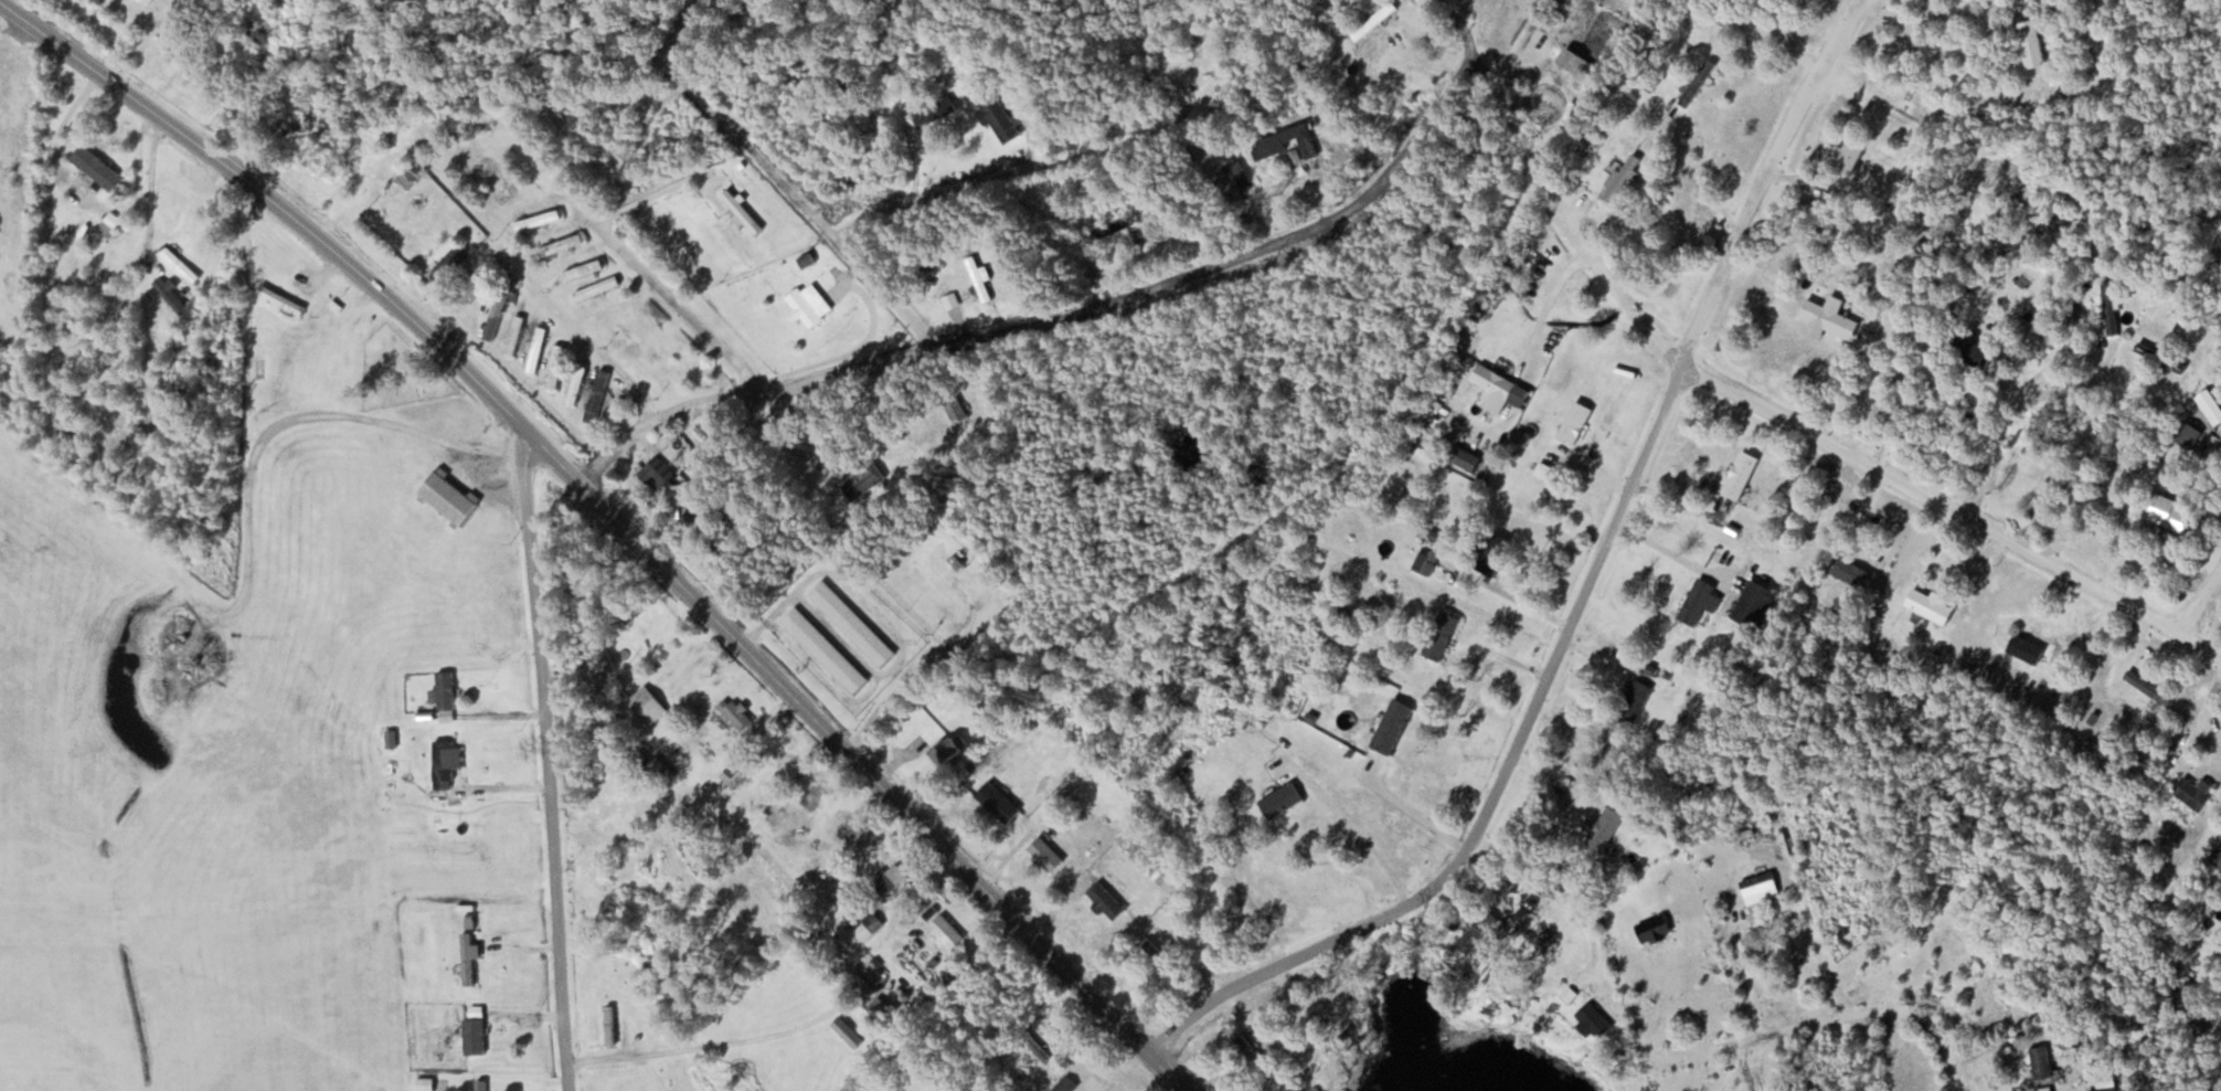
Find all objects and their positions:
building: (151, 0)
road: (1445, 6)
road: (1455, 17)
building: (1374, 19)
building: (2031, 42)
building: (1577, 62)
building: (1697, 81)
road: (235, 82)
building: (935, 109)
building: (999, 116)
building: (682, 123)
building: (1284, 135)
building: (659, 146)
building: (1851, 152)
building: (97, 167)
road: (1007, 172)
building: (412, 173)
road: (1763, 178)
building: (495, 179)
road: (777, 180)
building: (742, 209)
building: (538, 220)
building: (109, 223)
building: (1115, 225)
building: (561, 244)
building: (808, 255)
building: (450, 263)
building: (180, 264)
building: (583, 269)
building: (979, 278)
building: (166, 286)
building: (596, 287)
road: (1619, 292)
building: (281, 299)
building: (809, 305)
building: (2111, 307)
road: (1067, 311)
building: (496, 315)
building: (1826, 317)
building: (516, 335)
building: (640, 337)
building: (536, 349)
building: (1968, 351)
building: (258, 371)
building: (576, 383)
building: (1501, 384)
building: (597, 395)
building: (956, 409)
building: (1575, 422)
building: (2188, 433)
building: (656, 473)
building: (1741, 474)
building: (862, 476)
road: (1314, 491)
building: (447, 497)
road: (1954, 509)
building: (2167, 511)
road: (620, 517)
building: (1494, 552)
building: (1430, 562)
building: (1851, 571)
road: (2199, 597)
building: (1697, 601)
building: (1755, 603)
building: (1931, 603)
building: (455, 622)
building: (851, 623)
building: (1442, 635)
building: (2027, 647)
building: (826, 649)
building: (2149, 687)
building: (446, 689)
building: (1635, 700)
building: (735, 711)
building: (1393, 725)
building: (945, 750)
road: (543, 754)
building: (445, 762)
building: (732, 775)
road: (1496, 778)
building: (2196, 792)
building: (1280, 799)
building: (998, 802)
building: (1605, 828)
building: (2140, 850)
building: (1045, 854)
building: (691, 856)
building: (2219, 861)
building: (893, 876)
building: (1761, 889)
building: (1106, 900)
building: (869, 923)
building: (1654, 929)
building: (1480, 931)
building: (946, 932)
building: (469, 957)
building: (878, 1005)
building: (2140, 1017)
building: (1593, 1020)
building: (2204, 1020)
road: (1826, 1021)
building: (609, 1025)
building: (848, 1031)
building: (474, 1036)
building: (1037, 1047)
building: (2041, 1062)
building: (641, 1082)
building: (425, 1083)
building: (1064, 1084)
building: (481, 1085)
building: (2104, 1089)

